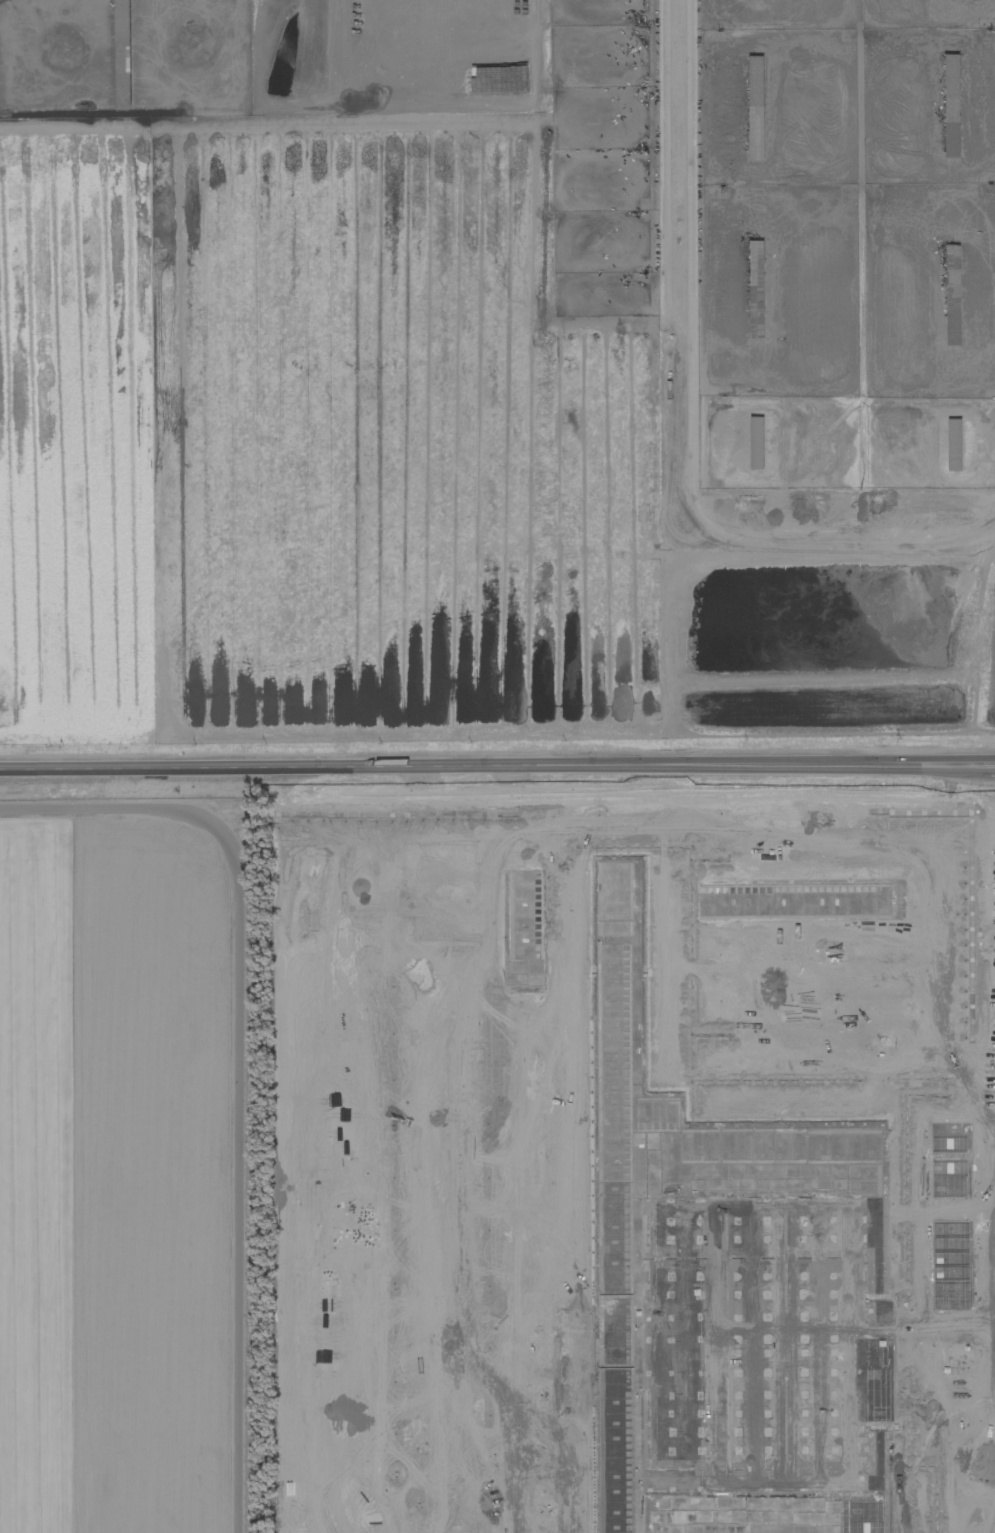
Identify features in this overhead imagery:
building: (756, 126)
building: (756, 256)
building: (952, 269)
building: (954, 449)
road: (497, 768)
road: (468, 815)
building: (347, 844)
building: (553, 846)
building: (469, 883)
building: (397, 889)
building: (540, 905)
building: (572, 1013)
building: (471, 1146)
airport: (125, 1166)
building: (473, 1466)

